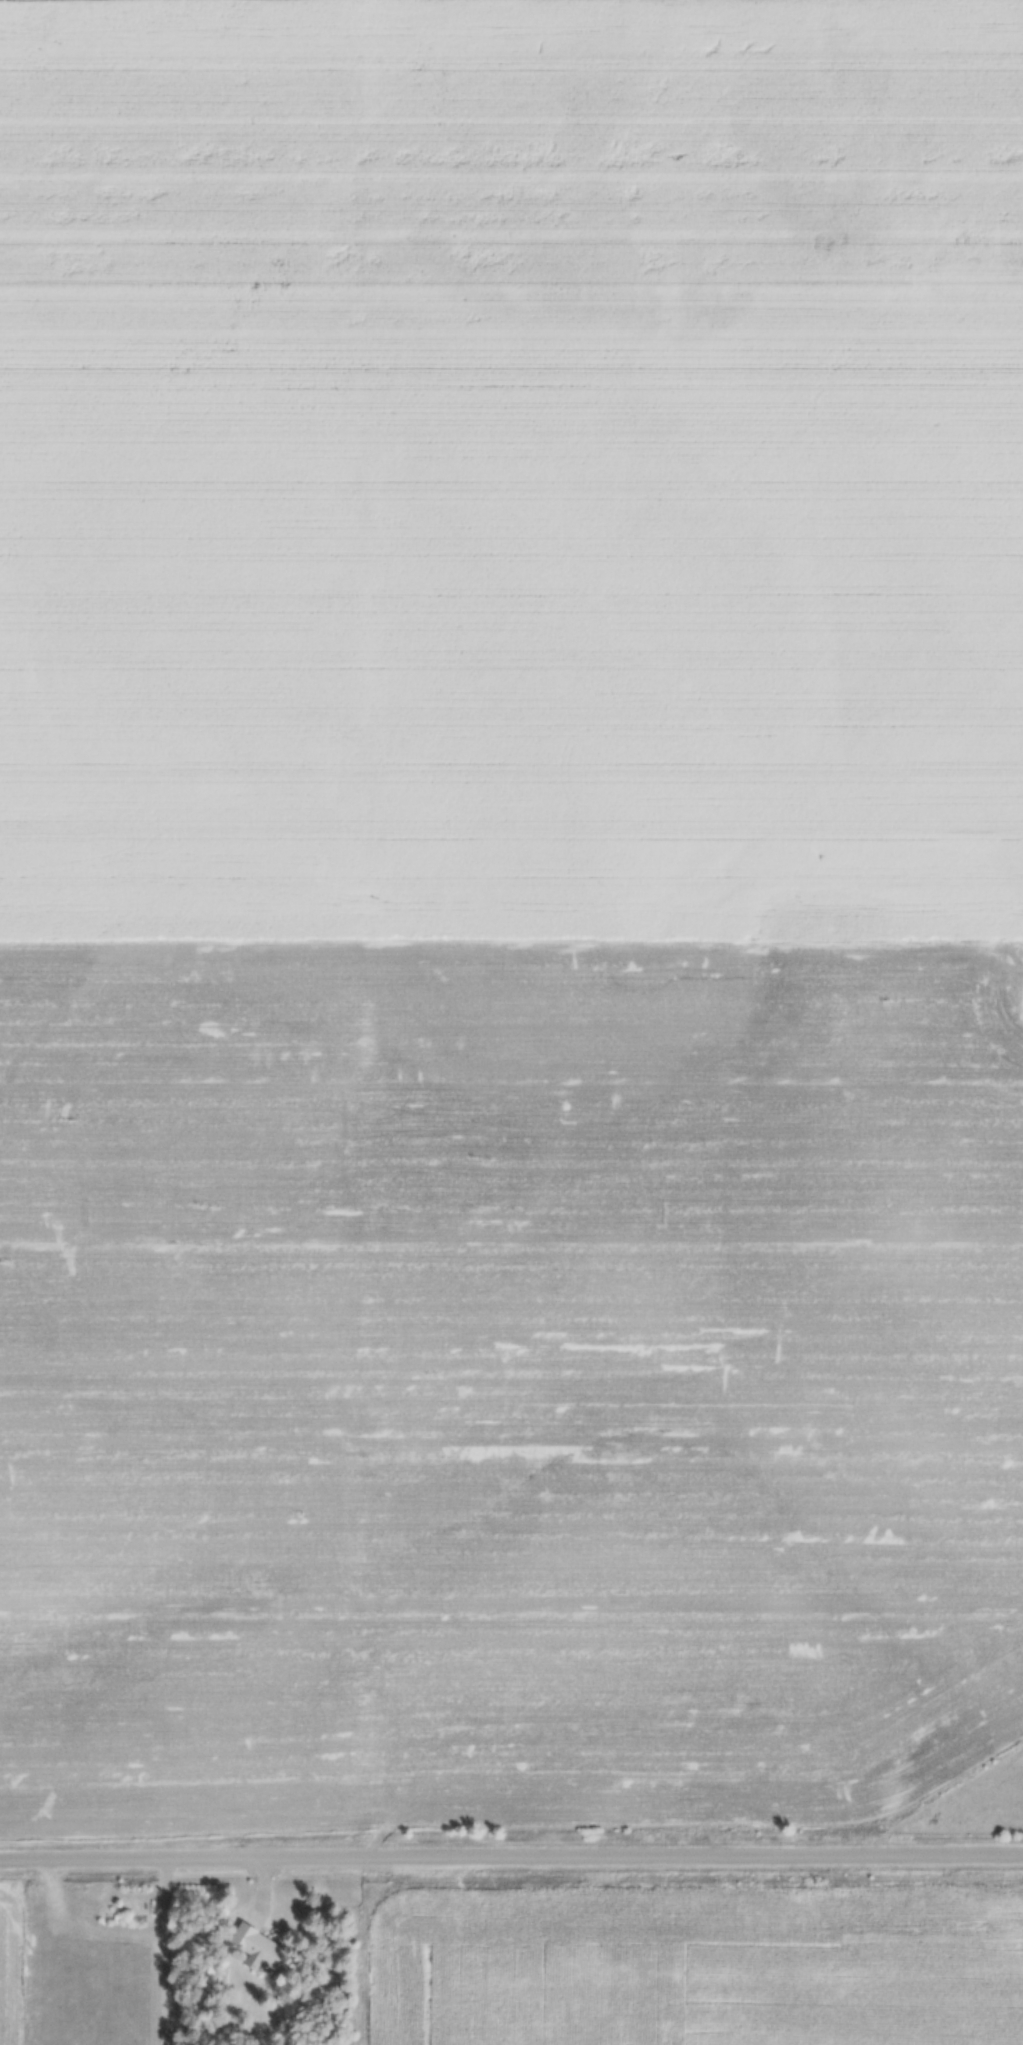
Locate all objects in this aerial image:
road: (511, 1864)
building: (259, 1948)
road: (164, 1955)

